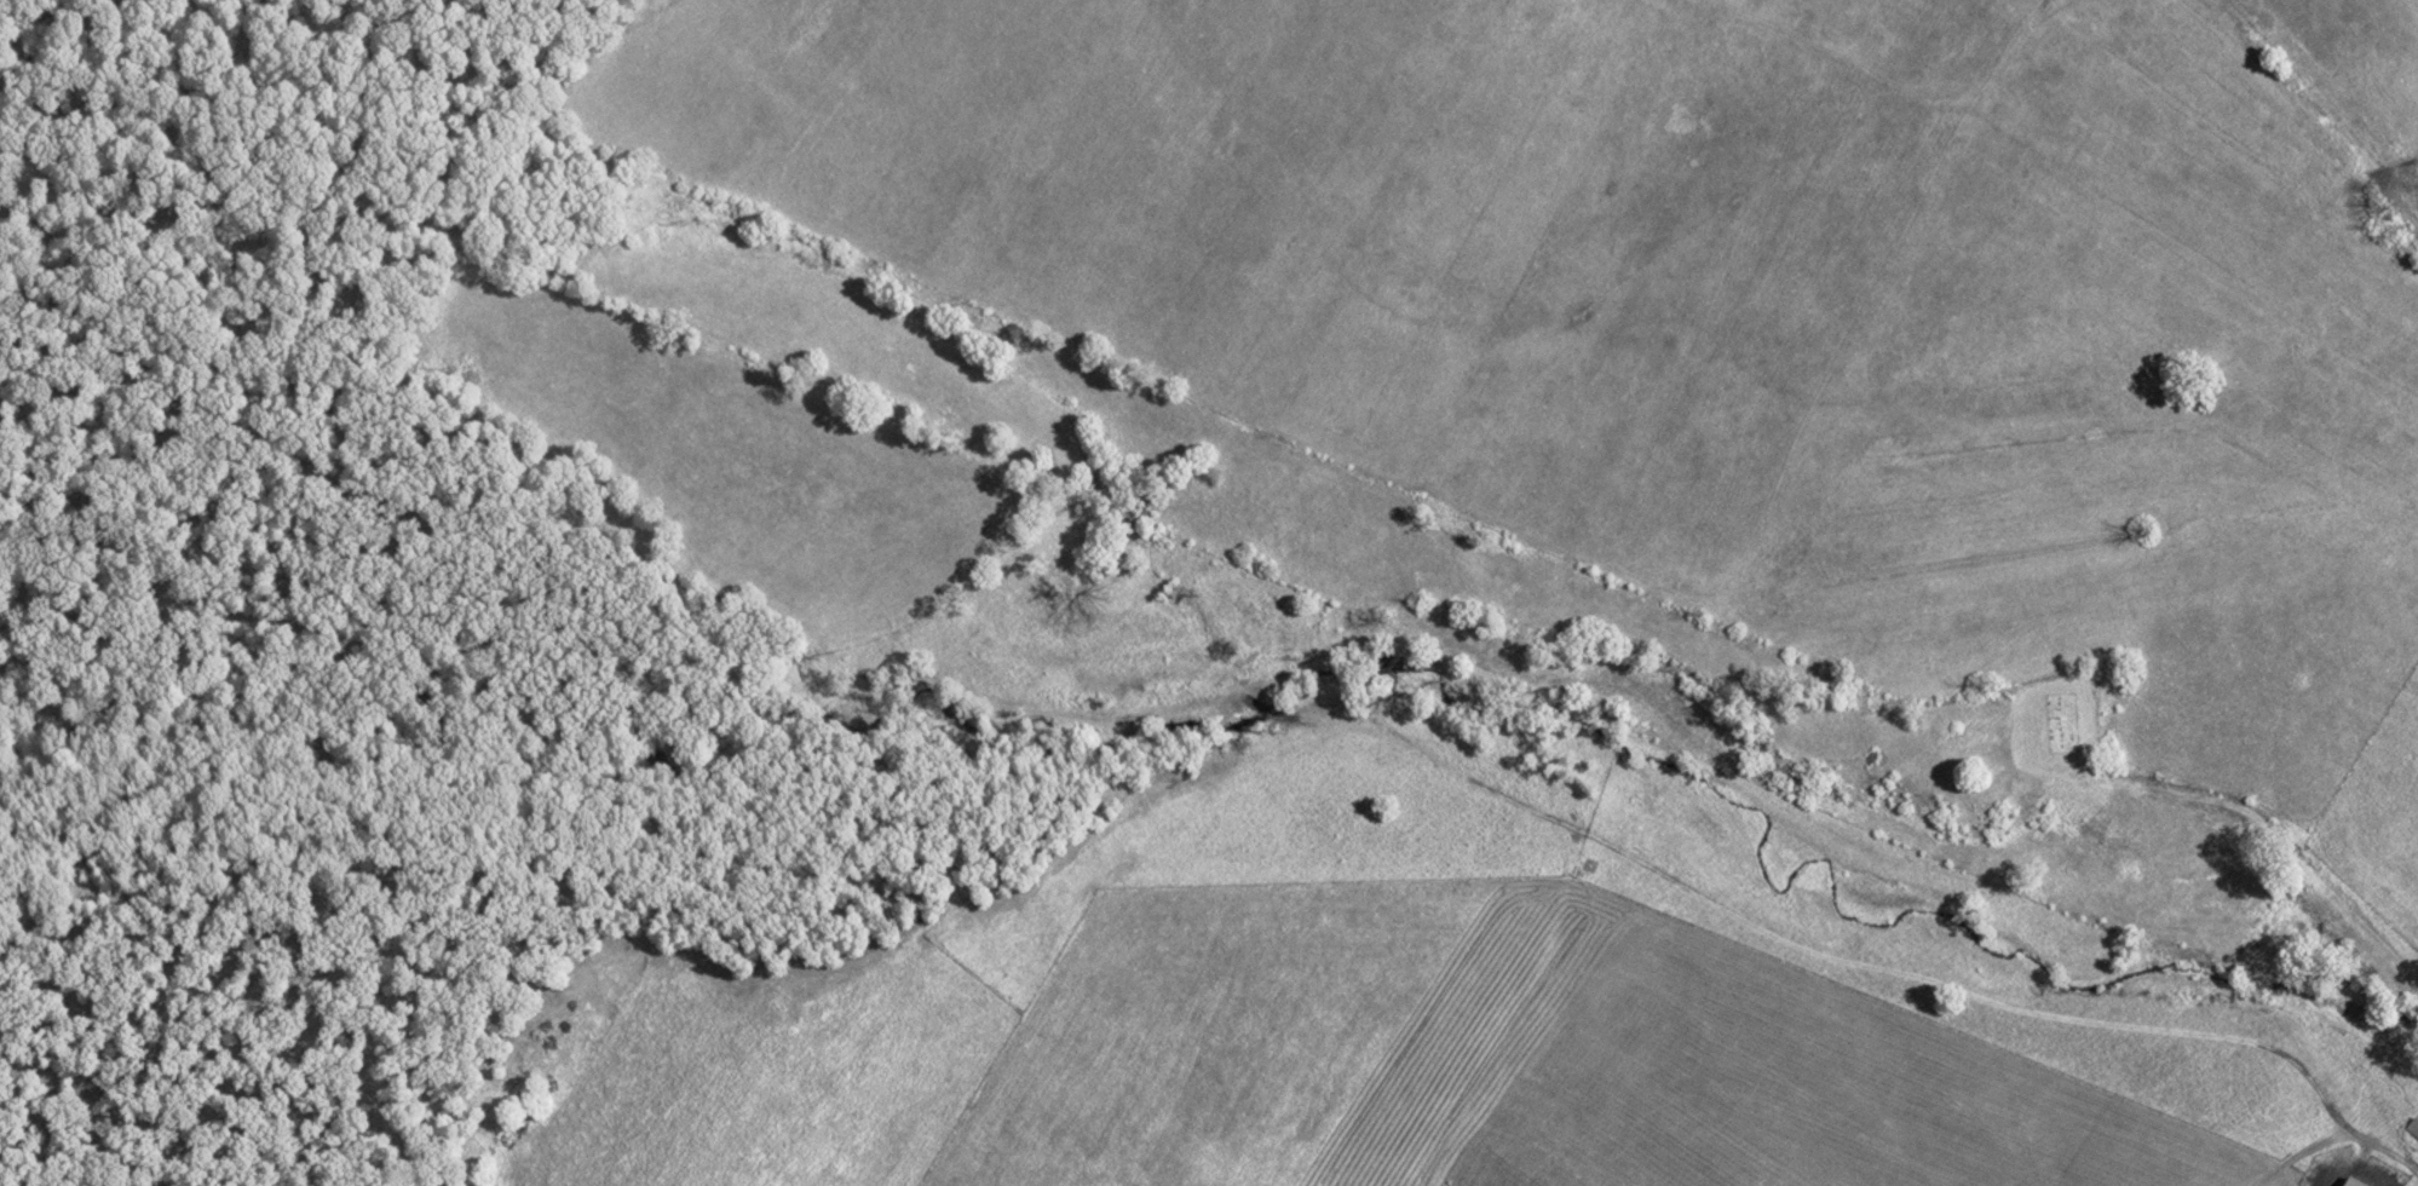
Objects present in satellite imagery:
building: (2412, 1129)

